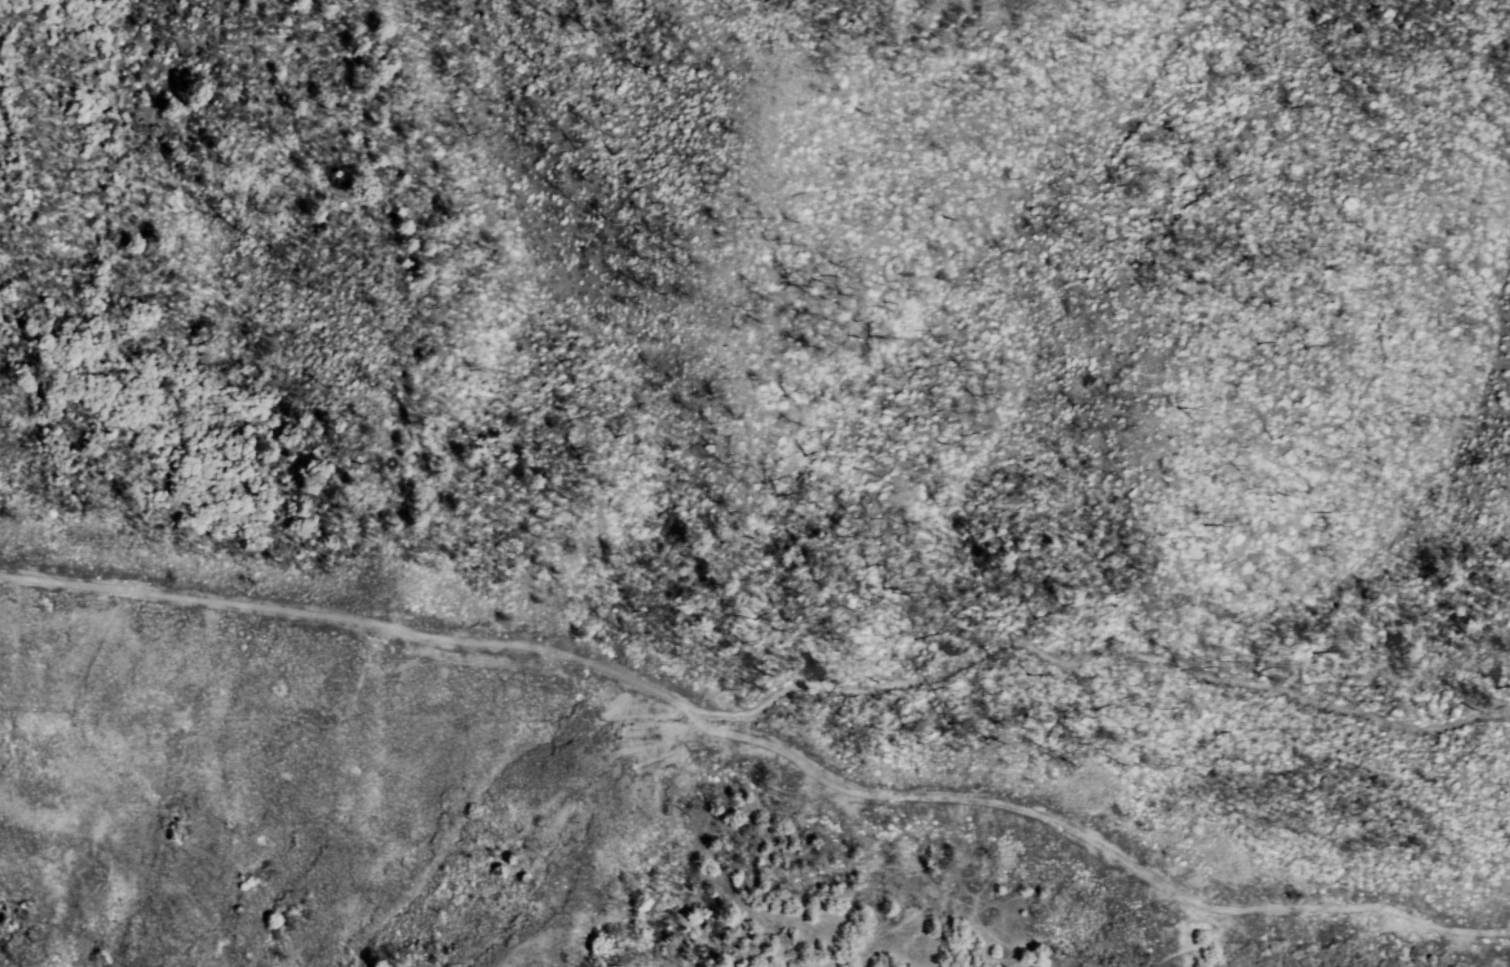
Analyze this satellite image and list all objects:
road: (762, 747)

